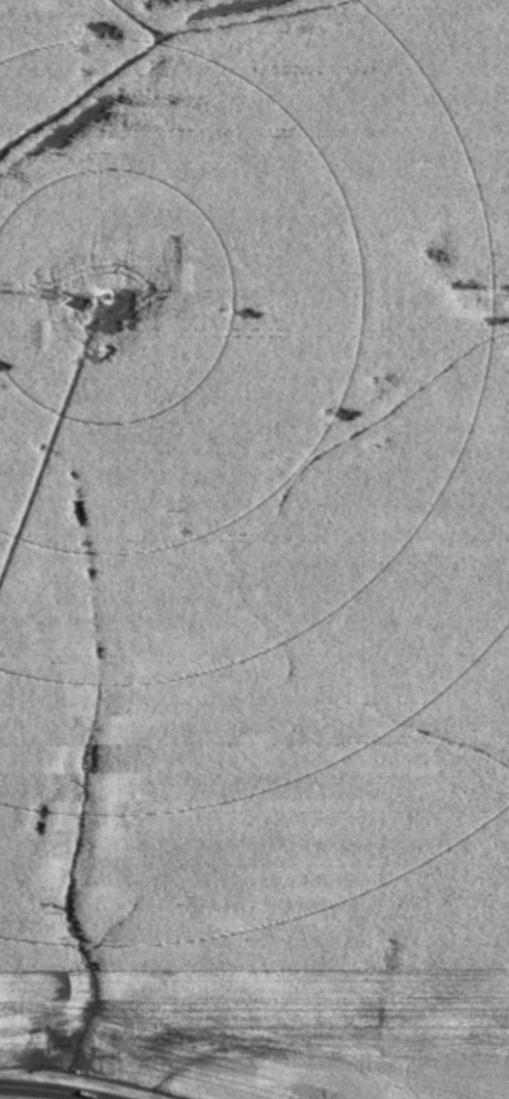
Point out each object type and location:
road: (53, 1090)

